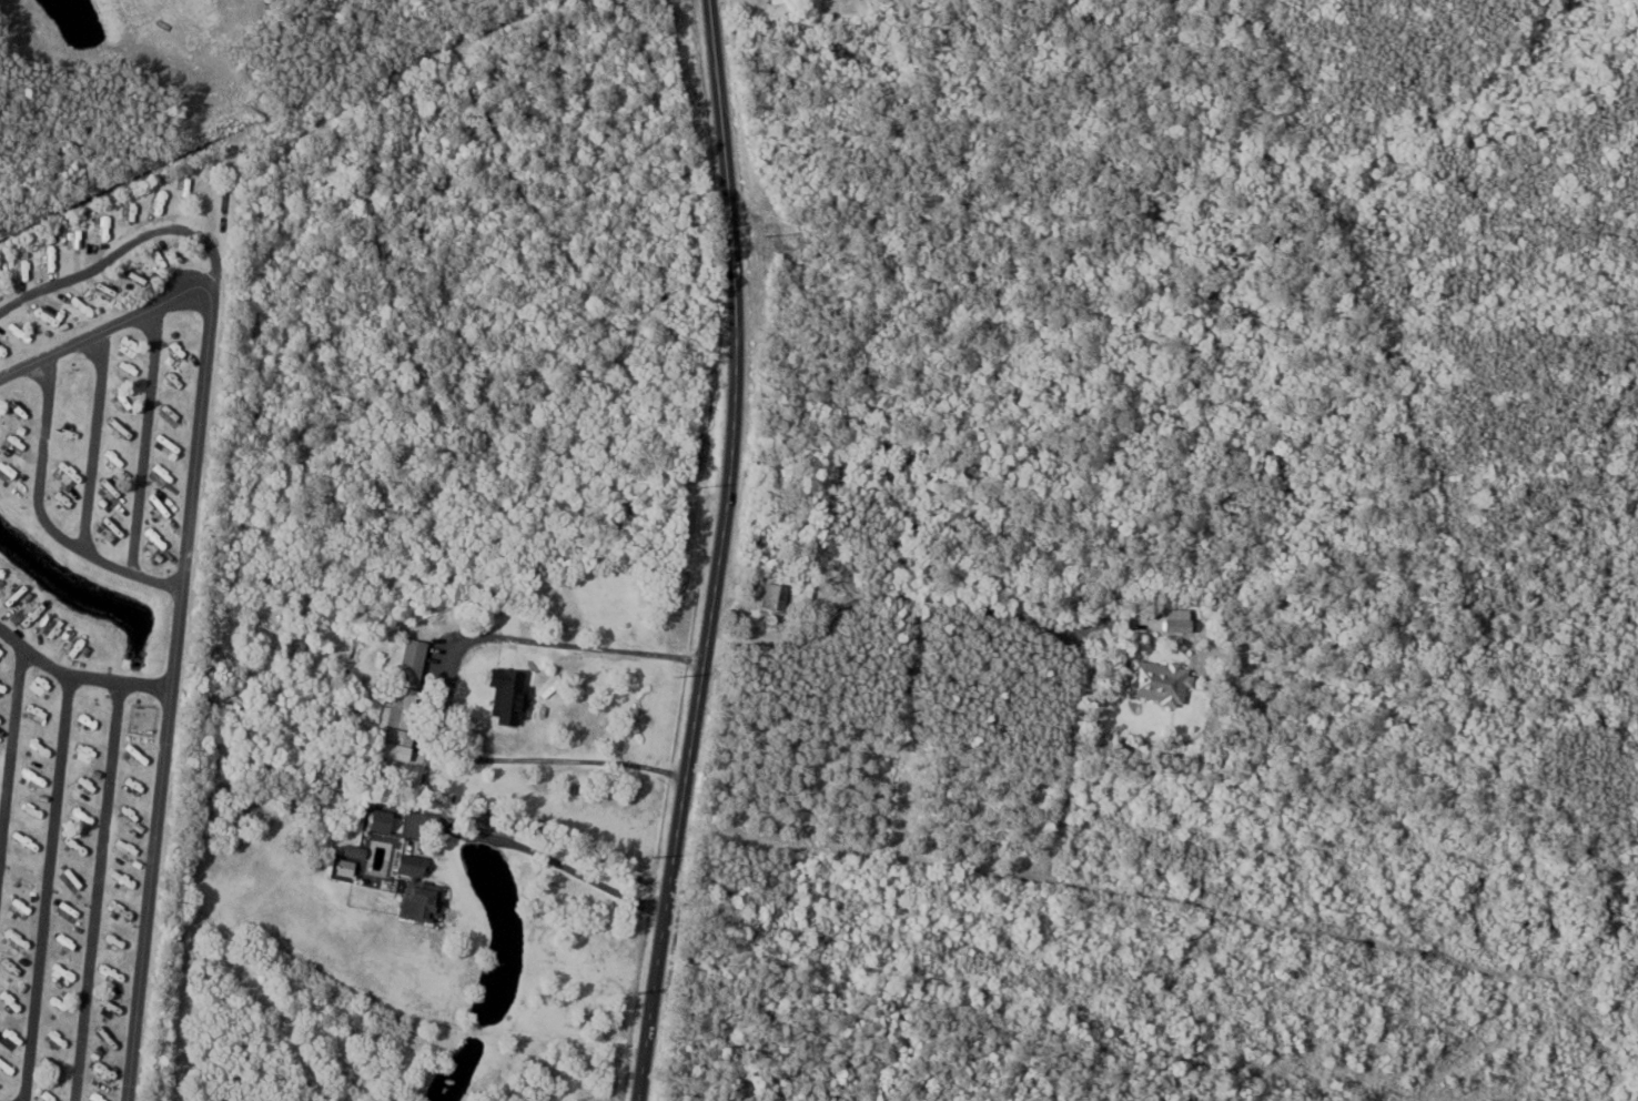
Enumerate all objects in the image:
road: (615, 265)
road: (721, 552)
building: (780, 595)
road: (917, 597)
building: (1186, 619)
building: (418, 659)
building: (1166, 681)
road: (443, 688)
building: (510, 695)
building: (405, 713)
road: (545, 851)
building: (423, 887)
road: (2, 1099)

